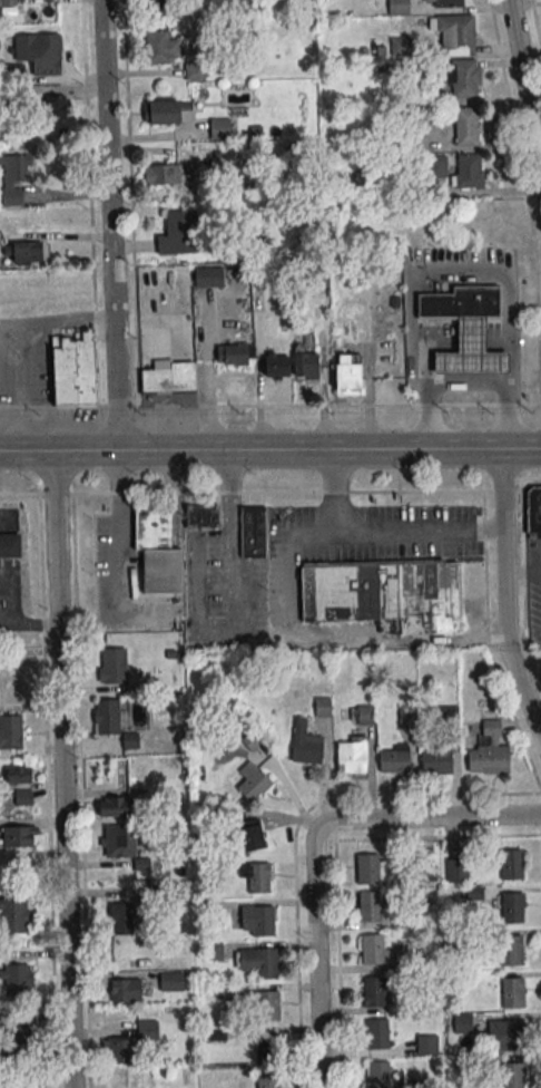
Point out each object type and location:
building: (8, 2)
building: (442, 3)
building: (160, 7)
building: (397, 7)
road: (535, 27)
building: (454, 33)
building: (400, 46)
building: (158, 47)
building: (39, 52)
building: (194, 71)
building: (464, 78)
road: (524, 84)
building: (58, 106)
building: (165, 111)
building: (468, 126)
building: (220, 129)
building: (417, 143)
building: (436, 165)
building: (469, 171)
building: (161, 174)
building: (14, 177)
road: (524, 187)
road: (89, 203)
road: (108, 225)
building: (179, 233)
building: (23, 252)
building: (208, 276)
building: (459, 302)
road: (21, 346)
building: (469, 350)
building: (232, 354)
building: (306, 363)
building: (275, 366)
building: (73, 369)
building: (348, 373)
building: (168, 378)
road: (468, 385)
road: (269, 405)
road: (269, 449)
road: (260, 493)
building: (533, 509)
building: (204, 516)
road: (124, 527)
road: (421, 528)
building: (253, 533)
building: (10, 546)
building: (157, 553)
road: (523, 573)
road: (504, 593)
road: (281, 594)
building: (384, 594)
parking lot: (10, 598)
road: (30, 623)
building: (111, 668)
building: (323, 707)
building: (362, 713)
building: (406, 716)
building: (106, 717)
building: (11, 731)
building: (306, 745)
building: (489, 751)
building: (352, 754)
building: (394, 758)
building: (436, 761)
road: (63, 769)
building: (254, 781)
building: (20, 784)
building: (115, 806)
road: (296, 828)
building: (252, 835)
building: (18, 836)
building: (118, 839)
road: (315, 845)
road: (335, 861)
building: (511, 865)
building: (367, 871)
building: (425, 871)
building: (456, 871)
building: (259, 878)
building: (131, 906)
building: (370, 909)
building: (512, 909)
building: (14, 914)
building: (263, 923)
building: (213, 951)
building: (372, 951)
building: (512, 952)
building: (266, 965)
building: (17, 980)
building: (171, 981)
building: (126, 990)
building: (374, 992)
building: (512, 993)
building: (266, 1008)
building: (462, 1022)
building: (147, 1029)
building: (376, 1036)
building: (512, 1036)
building: (20, 1037)
building: (426, 1045)
building: (266, 1049)
building: (119, 1051)
building: (377, 1075)
building: (512, 1076)
building: (29, 1080)
building: (267, 1081)

